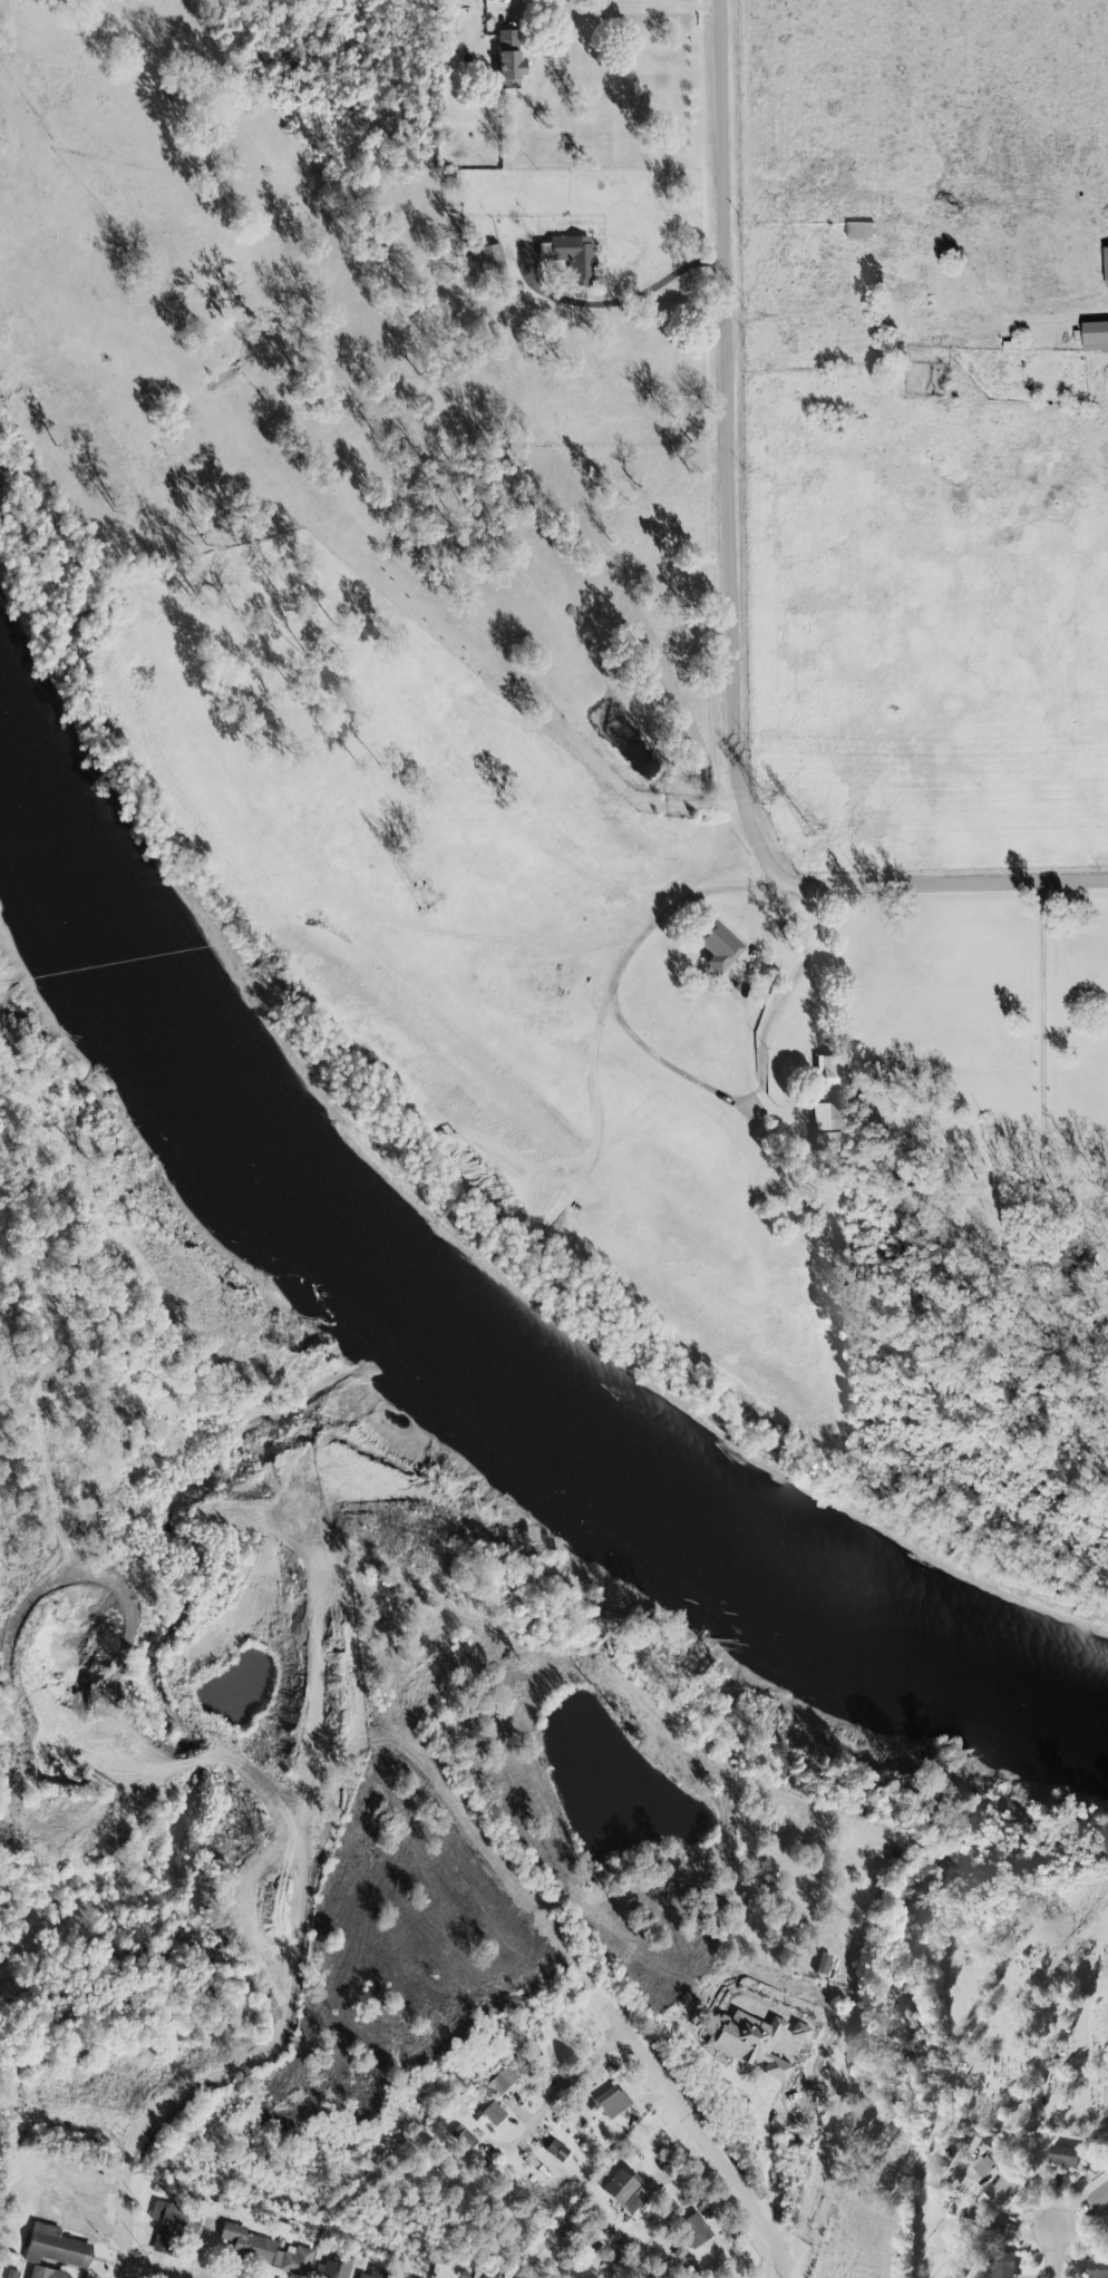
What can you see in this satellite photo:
road: (630, 8)
building: (508, 60)
building: (863, 232)
building: (1107, 254)
building: (573, 257)
building: (489, 260)
road: (620, 300)
power tower: (755, 318)
road: (1021, 325)
building: (1097, 338)
road: (360, 545)
road: (737, 607)
power tower: (764, 789)
power tower: (806, 827)
power tower: (422, 902)
road: (758, 919)
building: (722, 947)
road: (777, 1002)
building: (832, 1074)
building: (829, 1126)
river: (453, 1335)
building: (825, 1965)
road: (1082, 2017)
park: (1023, 2036)
building: (502, 2082)
road: (522, 2090)
road: (554, 2091)
building: (612, 2104)
building: (495, 2114)
road: (1049, 2114)
building: (463, 2140)
road: (702, 2141)
building: (558, 2152)
building: (1067, 2157)
building: (988, 2165)
building: (1005, 2190)
building: (628, 2191)
road: (811, 2196)
building: (1099, 2197)
building: (169, 2226)
road: (124, 2229)
building: (694, 2231)
building: (249, 2245)
building: (57, 2248)
road: (1056, 2256)
building: (297, 2261)
building: (1007, 2266)
road: (157, 2268)
building: (1097, 2268)
building: (331, 2269)
building: (48, 2274)
building: (377, 2274)
building: (405, 2277)

